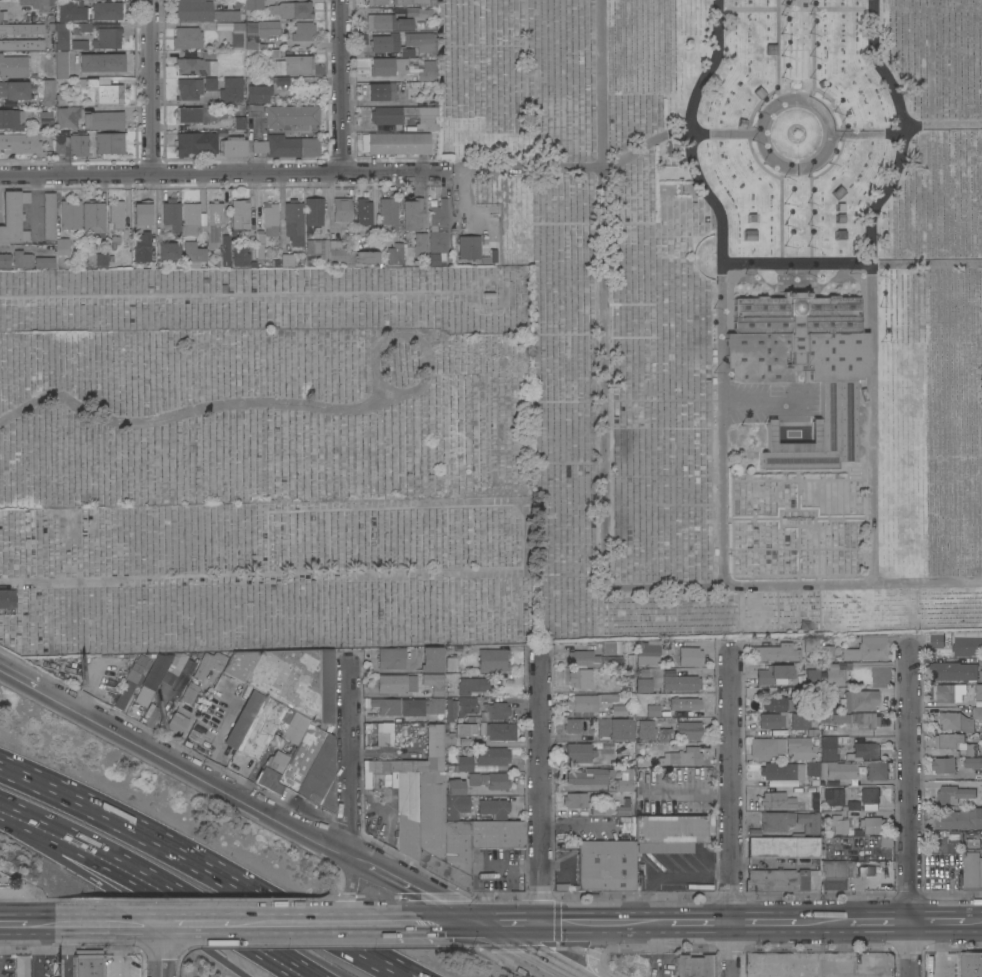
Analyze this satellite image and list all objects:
building: (377, 2)
building: (409, 2)
building: (35, 4)
building: (254, 4)
road: (798, 9)
building: (106, 10)
building: (193, 10)
building: (291, 10)
building: (73, 12)
building: (418, 12)
building: (2, 15)
building: (226, 15)
building: (388, 22)
building: (85, 27)
building: (21, 29)
building: (303, 31)
building: (259, 33)
building: (237, 35)
building: (60, 36)
building: (187, 37)
building: (105, 39)
building: (419, 41)
building: (385, 43)
building: (77, 44)
building: (21, 45)
road: (780, 51)
road: (816, 51)
building: (101, 63)
building: (61, 64)
building: (197, 65)
building: (294, 65)
building: (13, 66)
building: (403, 67)
building: (280, 80)
building: (209, 83)
road: (343, 86)
road: (153, 87)
building: (189, 88)
building: (16, 89)
building: (104, 89)
building: (230, 90)
building: (381, 91)
building: (47, 92)
building: (258, 93)
building: (59, 99)
building: (189, 114)
building: (391, 115)
building: (67, 116)
building: (45, 117)
building: (10, 119)
building: (424, 119)
building: (103, 120)
building: (239, 123)
building: (274, 131)
road: (909, 133)
road: (845, 134)
road: (679, 135)
road: (752, 135)
building: (19, 143)
building: (195, 143)
building: (395, 143)
building: (86, 144)
building: (233, 147)
road: (798, 168)
road: (228, 174)
building: (341, 210)
building: (363, 211)
road: (471, 213)
building: (69, 214)
building: (116, 214)
building: (141, 214)
building: (313, 214)
building: (389, 214)
road: (814, 214)
building: (48, 215)
building: (438, 215)
road: (784, 215)
building: (170, 216)
building: (239, 217)
building: (13, 218)
building: (190, 219)
building: (269, 219)
building: (93, 220)
building: (293, 222)
building: (213, 224)
building: (413, 229)
building: (114, 240)
building: (437, 241)
building: (259, 244)
building: (61, 246)
building: (141, 247)
building: (468, 247)
road: (14, 248)
building: (44, 250)
building: (224, 250)
building: (168, 251)
building: (192, 252)
building: (335, 253)
building: (395, 253)
building: (240, 254)
building: (490, 257)
building: (21, 259)
building: (434, 259)
building: (4, 260)
building: (101, 260)
building: (286, 260)
building: (44, 262)
road: (852, 263)
road: (724, 283)
road: (875, 285)
road: (606, 293)
road: (232, 296)
park: (268, 299)
park: (736, 303)
building: (802, 367)
road: (203, 409)
park: (263, 417)
road: (748, 466)
road: (858, 467)
road: (850, 473)
road: (800, 480)
road: (800, 490)
road: (754, 517)
road: (846, 517)
road: (818, 526)
road: (800, 549)
road: (801, 556)
road: (261, 574)
road: (801, 575)
road: (928, 584)
road: (800, 586)
road: (668, 588)
building: (7, 601)
building: (934, 640)
building: (967, 643)
building: (810, 644)
building: (871, 647)
building: (607, 648)
building: (647, 652)
building: (776, 653)
building: (826, 653)
building: (629, 654)
building: (686, 656)
building: (851, 657)
building: (390, 658)
building: (583, 658)
building: (431, 659)
building: (492, 660)
building: (609, 660)
building: (450, 663)
building: (209, 664)
building: (239, 664)
building: (174, 667)
building: (643, 672)
building: (955, 672)
building: (772, 673)
building: (834, 674)
building: (811, 677)
building: (152, 678)
building: (582, 678)
building: (131, 680)
building: (296, 680)
building: (780, 682)
building: (395, 683)
building: (680, 683)
building: (643, 685)
building: (469, 686)
building: (437, 687)
building: (978, 692)
building: (189, 693)
building: (949, 693)
building: (638, 696)
building: (655, 697)
building: (824, 699)
building: (860, 700)
building: (588, 702)
building: (780, 703)
building: (685, 704)
building: (386, 706)
building: (466, 706)
building: (423, 708)
building: (450, 709)
building: (618, 711)
building: (652, 711)
building: (491, 712)
building: (852, 719)
building: (177, 720)
building: (241, 720)
building: (772, 720)
building: (958, 720)
building: (800, 721)
building: (572, 725)
building: (259, 728)
building: (614, 728)
building: (464, 729)
building: (644, 730)
building: (688, 730)
building: (497, 731)
building: (813, 732)
road: (866, 732)
building: (383, 734)
building: (664, 735)
building: (448, 739)
building: (433, 742)
building: (464, 742)
building: (955, 743)
building: (767, 746)
building: (830, 746)
building: (609, 747)
building: (800, 748)
building: (291, 752)
building: (861, 752)
building: (578, 753)
building: (681, 757)
road: (351, 758)
building: (483, 759)
building: (640, 763)
building: (973, 763)
building: (943, 765)
building: (812, 768)
building: (874, 770)
building: (777, 771)
building: (839, 771)
building: (319, 776)
building: (472, 779)
building: (599, 779)
building: (494, 781)
building: (780, 783)
building: (981, 787)
road: (542, 789)
road: (686, 791)
road: (237, 792)
building: (853, 792)
building: (952, 794)
building: (815, 796)
building: (834, 797)
building: (869, 798)
building: (454, 799)
building: (575, 800)
building: (774, 800)
building: (851, 806)
building: (493, 808)
road: (10, 812)
road: (911, 812)
road: (732, 813)
building: (407, 814)
building: (959, 819)
building: (775, 821)
building: (808, 822)
road: (4, 823)
building: (838, 824)
building: (870, 825)
road: (43, 828)
building: (668, 833)
building: (455, 835)
road: (24, 837)
building: (948, 840)
building: (886, 841)
building: (783, 847)
building: (605, 865)
road: (208, 866)
road: (512, 867)
road: (351, 869)
building: (972, 871)
building: (832, 875)
building: (782, 880)
road: (949, 884)
road: (949, 905)
road: (145, 906)
road: (184, 908)
road: (316, 910)
road: (606, 921)
road: (701, 921)
road: (879, 921)
road: (937, 921)
road: (973, 921)
road: (337, 922)
road: (438, 922)
road: (763, 922)
road: (821, 922)
road: (13, 923)
road: (41, 923)
road: (110, 923)
road: (218, 923)
traffic signals: (474, 923)
road: (508, 923)
traffic signals: (543, 923)
road: (656, 949)
road: (38, 950)
road: (64, 950)
road: (163, 950)
road: (522, 950)
building: (971, 964)
building: (23, 965)
building: (88, 965)
building: (694, 966)

